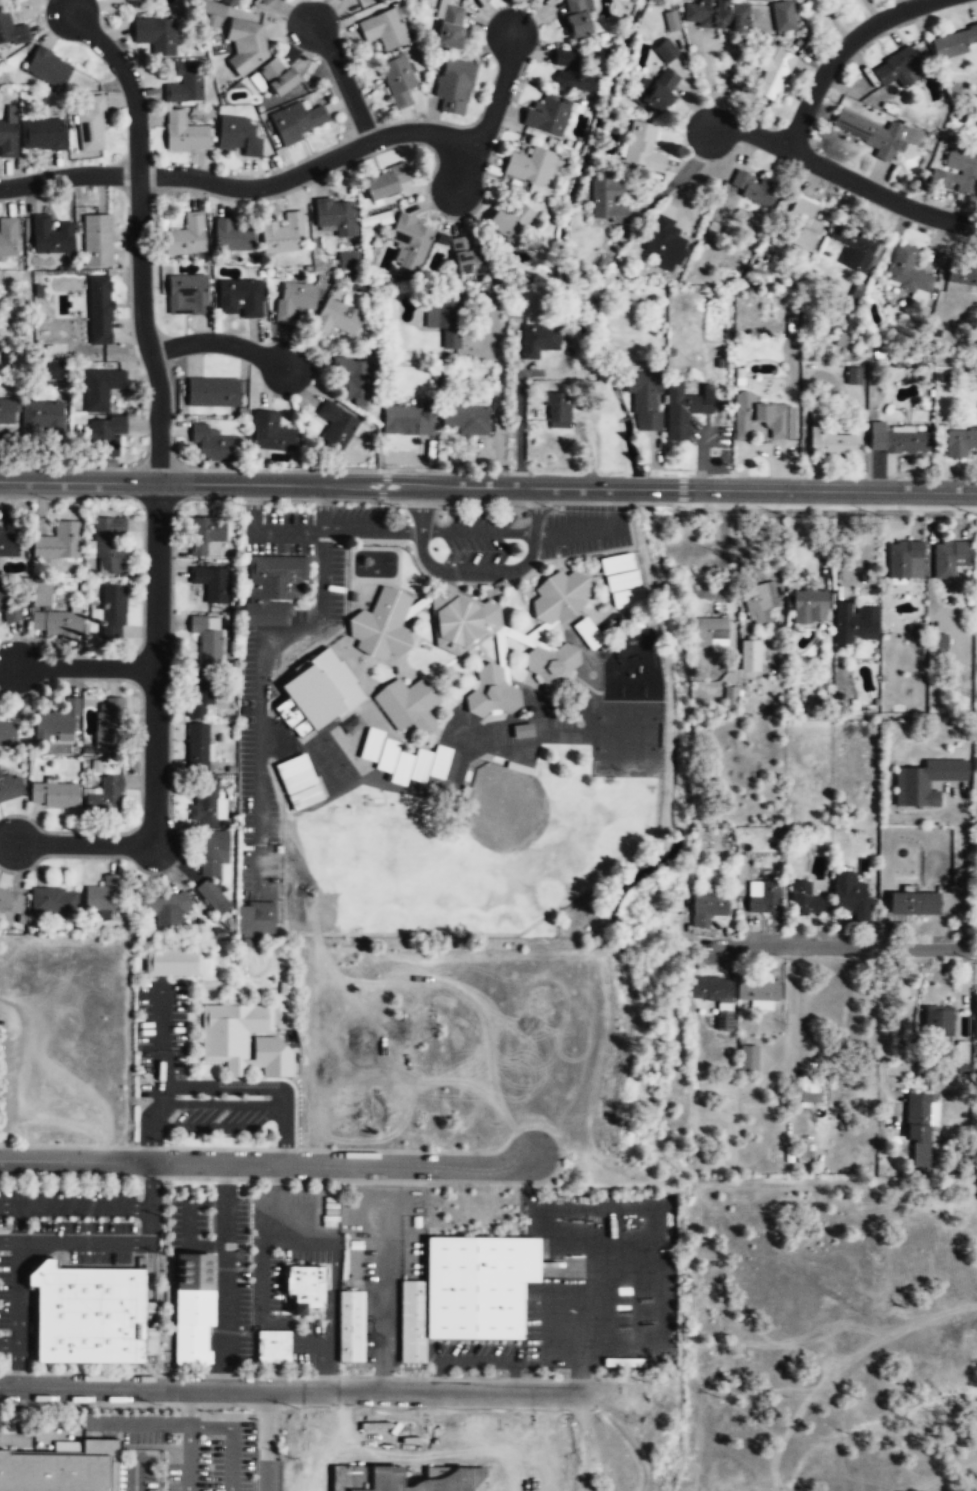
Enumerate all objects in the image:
building: (140, 1)
building: (263, 2)
building: (209, 10)
building: (784, 14)
building: (717, 15)
building: (575, 20)
building: (671, 20)
building: (451, 27)
building: (383, 30)
building: (11, 31)
building: (156, 35)
building: (954, 43)
building: (246, 48)
building: (666, 50)
road: (840, 55)
building: (48, 67)
building: (898, 70)
building: (570, 71)
building: (775, 71)
building: (279, 77)
road: (343, 80)
building: (397, 80)
building: (257, 81)
road: (708, 81)
building: (185, 84)
building: (454, 87)
building: (653, 94)
road: (489, 110)
building: (546, 116)
building: (297, 121)
building: (91, 125)
building: (870, 132)
building: (184, 134)
building: (7, 136)
building: (42, 136)
building: (237, 136)
building: (642, 148)
building: (528, 167)
building: (959, 172)
road: (843, 175)
building: (385, 184)
road: (242, 186)
building: (755, 187)
building: (607, 202)
building: (335, 217)
building: (800, 218)
building: (508, 223)
building: (283, 235)
building: (51, 236)
road: (137, 236)
building: (186, 236)
building: (231, 236)
building: (8, 237)
building: (97, 240)
building: (410, 243)
building: (664, 244)
building: (853, 244)
building: (469, 258)
building: (348, 262)
building: (907, 270)
building: (961, 272)
building: (187, 294)
building: (239, 296)
building: (294, 300)
building: (100, 310)
building: (337, 318)
building: (444, 319)
building: (538, 339)
road: (220, 343)
building: (54, 369)
building: (854, 375)
building: (353, 380)
building: (100, 388)
building: (213, 390)
road: (499, 394)
road: (519, 401)
building: (646, 401)
building: (684, 409)
building: (558, 410)
building: (6, 412)
building: (41, 416)
building: (761, 417)
building: (407, 419)
building: (465, 420)
building: (336, 424)
building: (269, 431)
building: (876, 435)
building: (104, 436)
building: (827, 438)
building: (906, 441)
building: (213, 442)
building: (959, 442)
road: (488, 486)
street lamp: (396, 506)
road: (614, 508)
street lamp: (694, 513)
street lamp: (878, 514)
road: (571, 530)
parking lot: (583, 530)
road: (476, 531)
road: (419, 533)
building: (205, 534)
parking lot: (478, 536)
road: (532, 537)
building: (9, 540)
building: (58, 543)
building: (109, 544)
building: (948, 558)
building: (905, 560)
building: (615, 562)
road: (472, 572)
building: (621, 580)
building: (210, 583)
building: (273, 588)
building: (41, 593)
building: (559, 596)
building: (627, 596)
building: (759, 602)
building: (8, 605)
building: (809, 606)
building: (112, 612)
building: (461, 619)
building: (856, 622)
building: (55, 624)
building: (381, 624)
building: (587, 632)
building: (710, 634)
building: (206, 640)
building: (940, 641)
building: (750, 654)
road: (157, 663)
road: (86, 666)
building: (551, 666)
building: (319, 688)
building: (490, 691)
building: (730, 696)
building: (202, 698)
building: (406, 704)
building: (56, 722)
building: (110, 723)
building: (353, 724)
building: (522, 731)
building: (7, 735)
building: (370, 743)
building: (199, 744)
park: (318, 748)
building: (415, 763)
park: (335, 772)
building: (299, 782)
building: (925, 782)
building: (10, 789)
building: (55, 795)
building: (106, 796)
building: (206, 800)
road: (84, 843)
building: (211, 854)
road: (962, 870)
building: (210, 895)
building: (851, 895)
building: (101, 897)
building: (763, 897)
building: (53, 902)
building: (10, 903)
building: (806, 903)
building: (913, 904)
building: (707, 909)
building: (165, 910)
building: (256, 919)
road: (841, 947)
building: (173, 963)
building: (758, 991)
building: (714, 994)
road: (882, 1008)
building: (938, 1022)
building: (975, 1026)
building: (243, 1039)
building: (748, 1057)
road: (6, 1079)
building: (806, 1090)
building: (918, 1132)
road: (268, 1162)
street lamp: (121, 1180)
road: (152, 1201)
road: (76, 1205)
road: (19, 1224)
road: (9, 1242)
road: (85, 1242)
road: (151, 1268)
building: (305, 1287)
building: (466, 1291)
road: (19, 1292)
building: (193, 1306)
building: (150, 1307)
building: (89, 1312)
building: (351, 1326)
road: (9, 1342)
building: (273, 1346)
road: (18, 1364)
road: (312, 1392)
road: (189, 1407)
road: (139, 1423)
parking lot: (0, 1424)
road: (209, 1425)
road: (267, 1441)
parking lot: (188, 1447)
building: (62, 1469)
road: (135, 1473)

